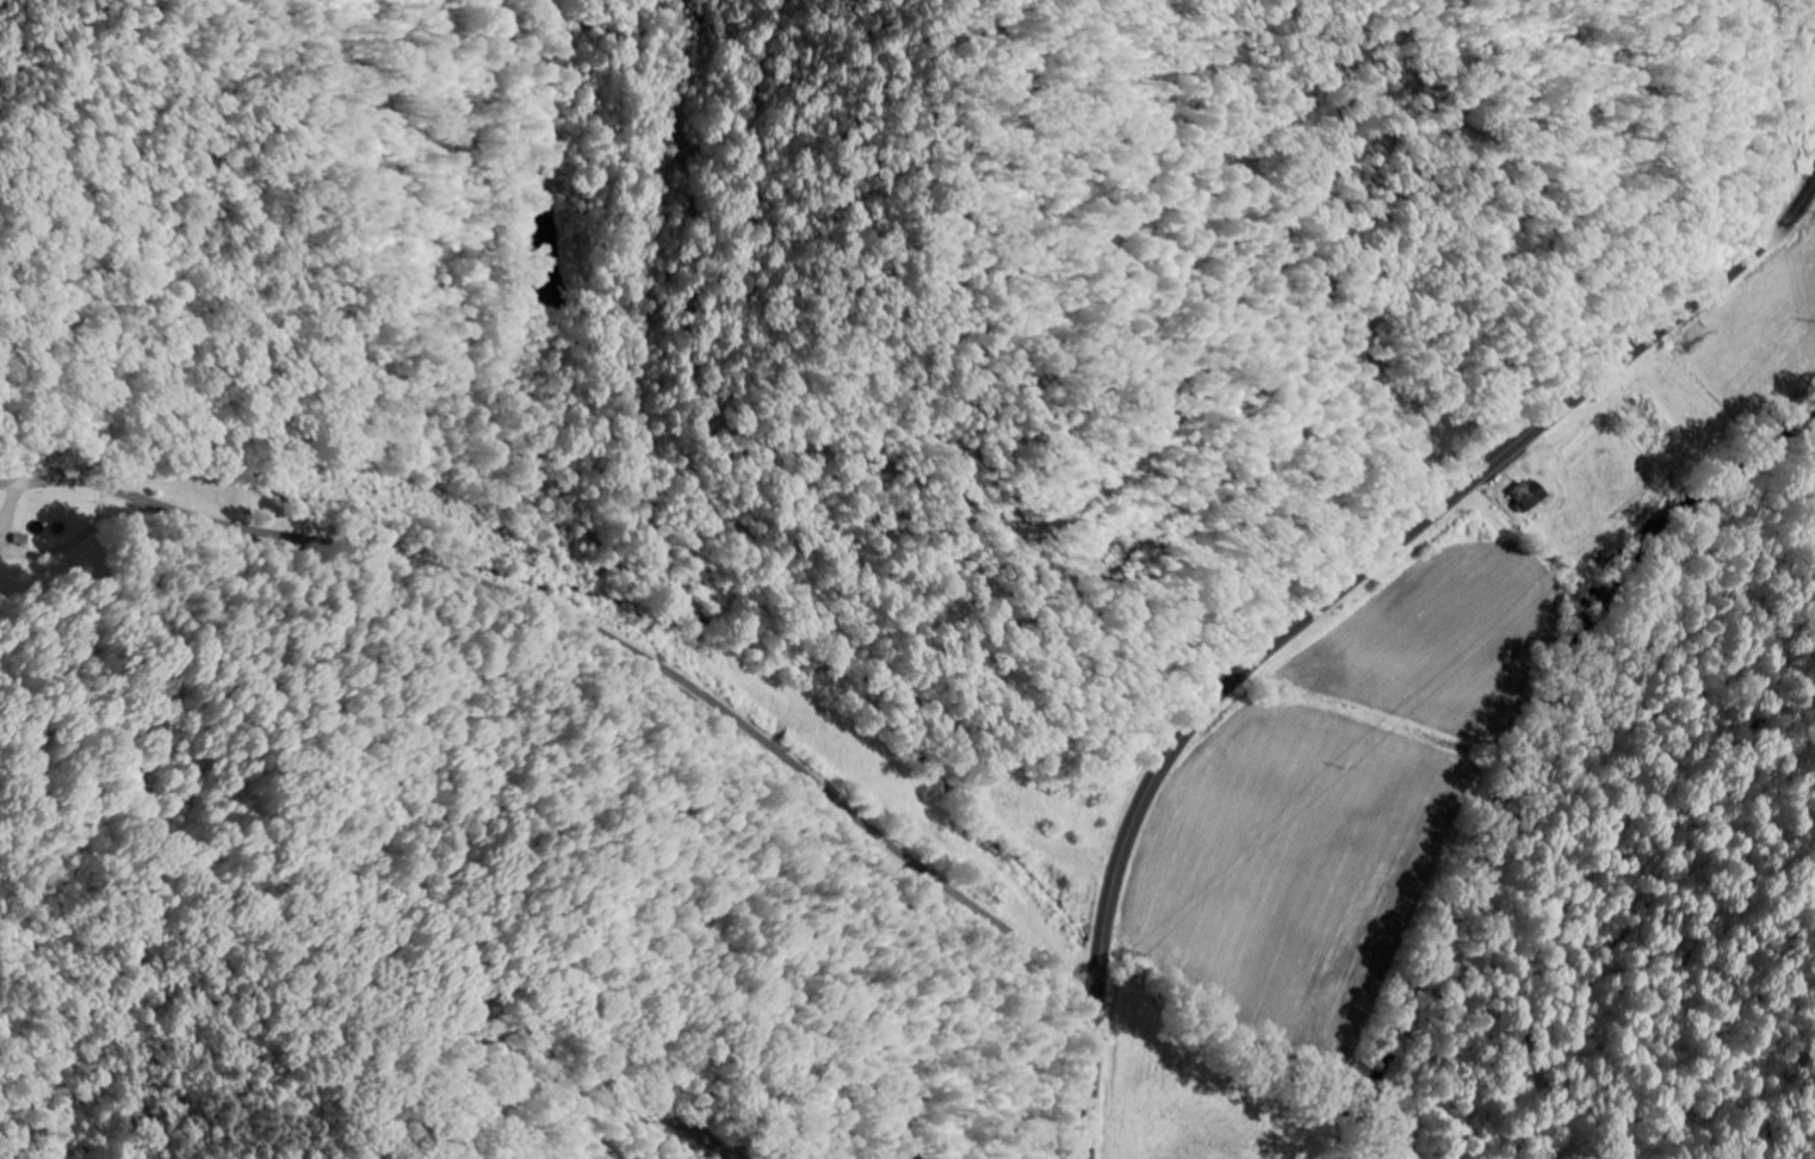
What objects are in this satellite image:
road: (1811, 2)
road: (1813, 6)
road: (1337, 596)
road: (593, 640)

